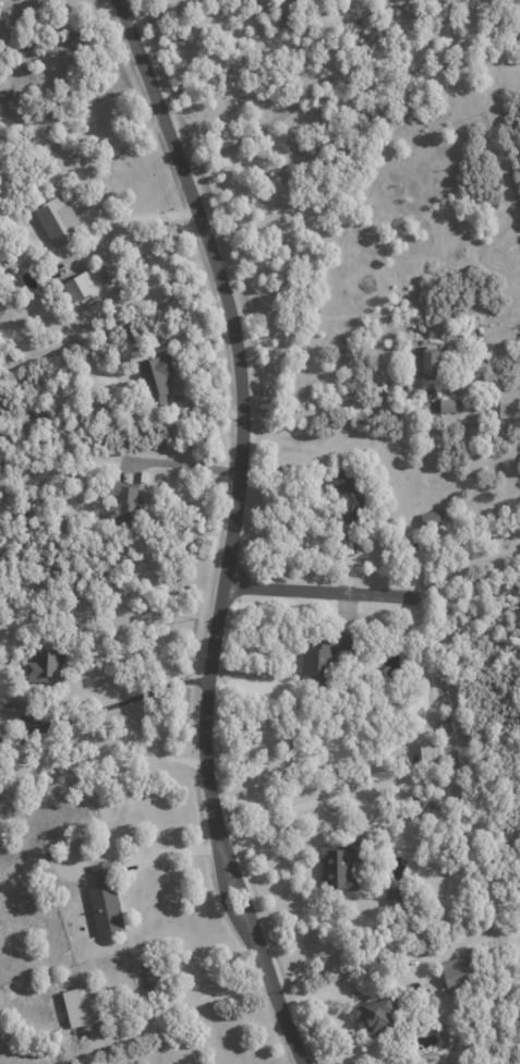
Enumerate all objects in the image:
building: (351, 0)
road: (156, 11)
building: (288, 19)
road: (342, 72)
building: (58, 221)
building: (77, 287)
building: (424, 362)
building: (156, 376)
building: (508, 403)
road: (336, 406)
building: (447, 406)
road: (184, 465)
building: (346, 493)
building: (122, 504)
building: (430, 519)
road: (233, 530)
road: (321, 588)
building: (321, 655)
building: (45, 667)
road: (125, 700)
building: (430, 751)
road: (386, 755)
road: (104, 760)
building: (428, 797)
road: (301, 805)
road: (173, 856)
building: (338, 868)
road: (289, 874)
building: (392, 896)
building: (104, 900)
building: (459, 972)
building: (82, 1006)
building: (375, 1017)

